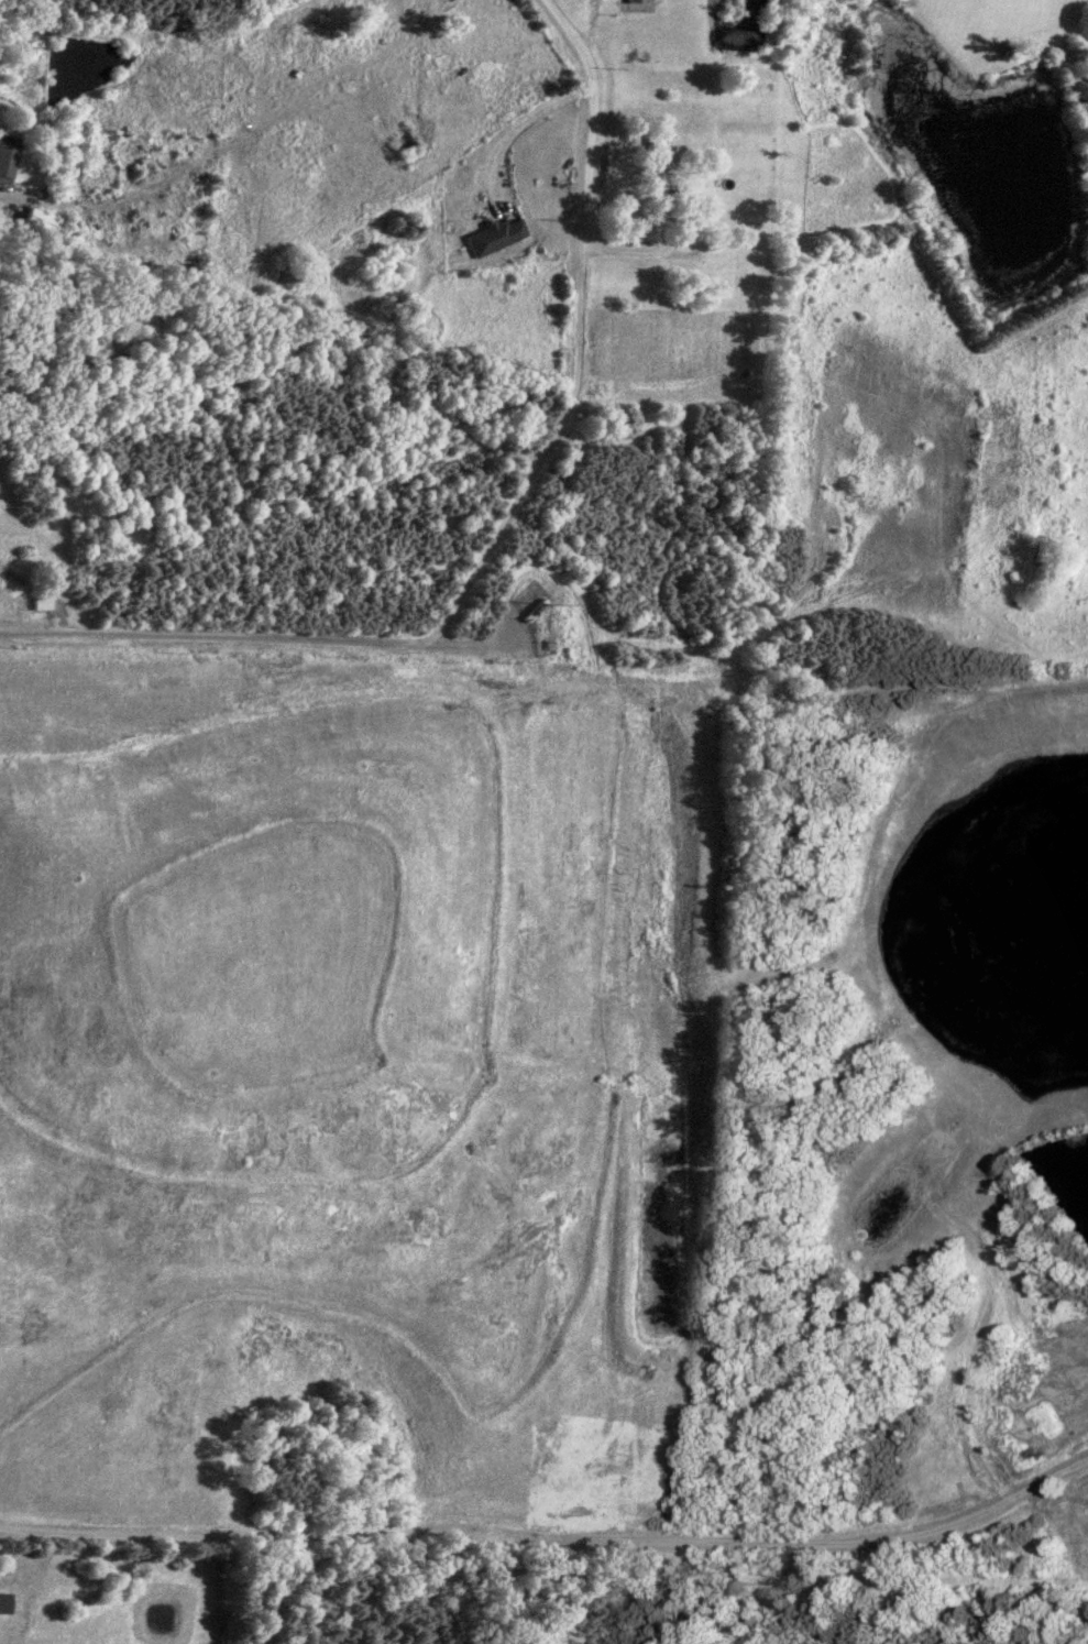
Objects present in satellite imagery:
building: (633, 1)
road: (589, 97)
road: (513, 127)
building: (7, 160)
building: (651, 161)
road: (2, 194)
building: (685, 196)
road: (581, 221)
building: (34, 222)
building: (496, 238)
building: (36, 605)
road: (429, 632)
road: (474, 644)
road: (551, 1533)

